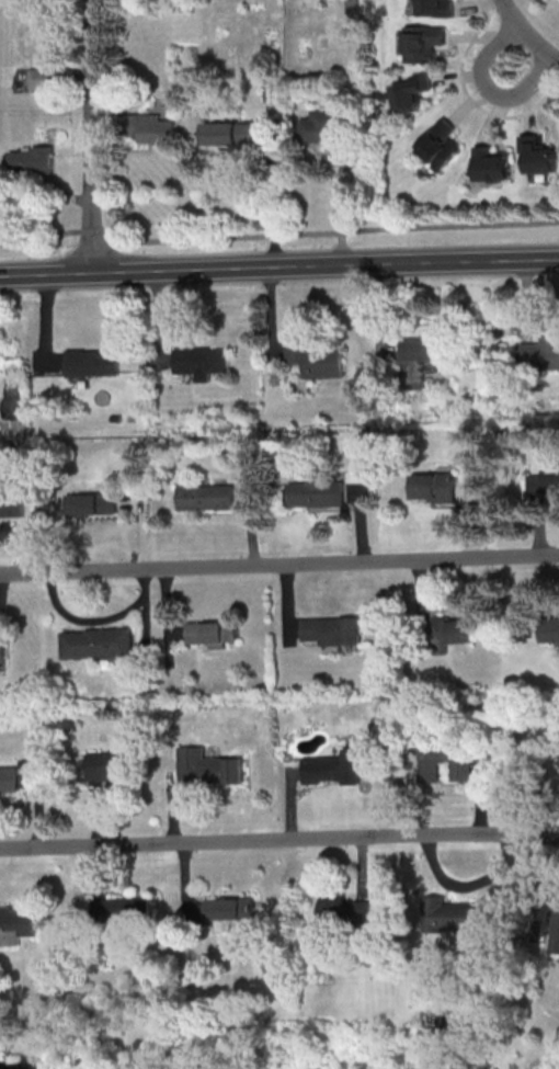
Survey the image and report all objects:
building: (434, 8)
road: (541, 19)
road: (526, 34)
building: (422, 44)
building: (42, 80)
road: (489, 88)
building: (411, 95)
road: (467, 96)
building: (323, 127)
building: (147, 130)
road: (94, 135)
building: (231, 136)
building: (438, 146)
building: (537, 159)
building: (33, 162)
building: (491, 167)
road: (274, 200)
road: (341, 202)
road: (278, 235)
road: (279, 265)
building: (539, 355)
building: (424, 360)
building: (199, 361)
building: (317, 362)
building: (92, 364)
building: (544, 481)
building: (431, 489)
building: (316, 494)
building: (204, 499)
building: (11, 505)
building: (90, 505)
road: (278, 561)
building: (549, 629)
building: (330, 632)
building: (210, 633)
building: (446, 634)
building: (95, 644)
building: (2, 653)
building: (442, 760)
building: (205, 767)
building: (329, 769)
building: (110, 770)
building: (9, 780)
road: (279, 840)
building: (224, 908)
building: (119, 909)
building: (343, 914)
building: (457, 914)
building: (16, 924)
building: (555, 937)

